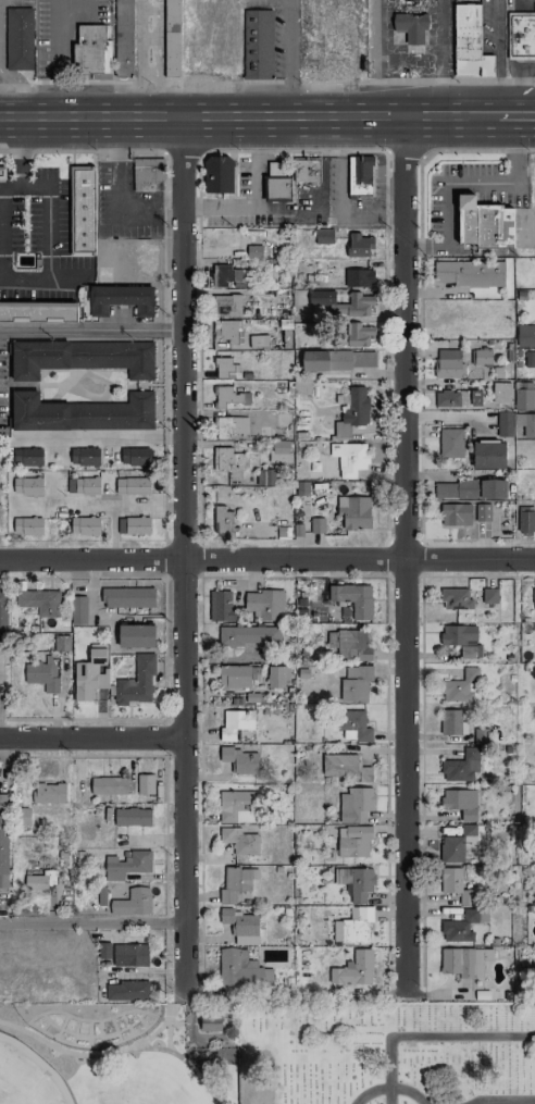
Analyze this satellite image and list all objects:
building: (411, 20)
road: (498, 26)
building: (521, 35)
building: (18, 38)
building: (123, 38)
building: (171, 38)
building: (258, 44)
building: (469, 44)
building: (91, 51)
road: (372, 57)
road: (406, 57)
road: (439, 57)
road: (289, 58)
road: (451, 79)
road: (88, 82)
road: (515, 82)
road: (497, 84)
road: (22, 87)
road: (515, 114)
road: (248, 115)
road: (20, 152)
road: (164, 153)
building: (306, 170)
building: (2, 174)
building: (148, 175)
building: (219, 175)
building: (360, 175)
building: (276, 182)
road: (461, 183)
road: (11, 189)
road: (323, 194)
road: (343, 196)
road: (256, 198)
building: (82, 210)
road: (112, 212)
road: (329, 214)
building: (484, 224)
building: (324, 236)
building: (253, 251)
building: (469, 273)
building: (229, 276)
building: (358, 277)
road: (52, 281)
building: (121, 299)
building: (226, 303)
building: (351, 303)
building: (38, 312)
building: (484, 323)
road: (91, 328)
road: (163, 331)
building: (229, 331)
building: (361, 334)
building: (525, 336)
building: (259, 340)
building: (482, 357)
building: (82, 358)
building: (530, 359)
building: (336, 360)
building: (448, 363)
building: (226, 368)
building: (301, 387)
building: (501, 392)
building: (524, 395)
building: (231, 396)
building: (458, 397)
building: (352, 411)
building: (83, 413)
building: (505, 423)
building: (526, 424)
building: (225, 426)
road: (113, 437)
building: (451, 443)
building: (278, 450)
building: (488, 455)
building: (27, 456)
building: (135, 456)
building: (84, 457)
building: (226, 458)
building: (349, 458)
building: (27, 485)
building: (83, 485)
building: (133, 485)
building: (470, 488)
road: (101, 505)
building: (353, 512)
building: (483, 512)
building: (455, 513)
building: (525, 519)
building: (222, 520)
building: (28, 525)
building: (85, 525)
building: (134, 525)
road: (186, 553)
road: (409, 555)
road: (360, 556)
road: (92, 560)
road: (432, 575)
building: (489, 595)
building: (127, 597)
building: (353, 598)
building: (457, 598)
building: (533, 598)
building: (39, 601)
building: (263, 605)
building: (221, 606)
building: (78, 609)
building: (2, 616)
building: (136, 635)
building: (248, 635)
building: (462, 640)
building: (62, 643)
building: (350, 644)
building: (42, 672)
building: (90, 673)
building: (234, 677)
building: (277, 677)
building: (137, 683)
building: (354, 683)
building: (463, 686)
building: (450, 721)
building: (235, 723)
building: (354, 727)
building: (481, 735)
road: (96, 740)
building: (239, 760)
building: (345, 767)
building: (461, 767)
building: (145, 783)
building: (109, 785)
building: (48, 793)
building: (460, 803)
building: (356, 804)
building: (237, 806)
building: (133, 817)
building: (3, 841)
building: (239, 841)
building: (353, 841)
building: (461, 843)
building: (126, 865)
building: (40, 880)
building: (358, 882)
building: (236, 883)
building: (456, 884)
building: (133, 902)
road: (94, 926)
building: (241, 926)
building: (352, 926)
building: (459, 927)
building: (124, 954)
building: (464, 960)
building: (240, 968)
building: (354, 969)
road: (172, 990)
building: (126, 991)
building: (210, 1022)
road: (159, 1028)
road: (169, 1032)
road: (416, 1035)
road: (117, 1050)
park: (386, 1052)
park: (117, 1053)
road: (400, 1088)

